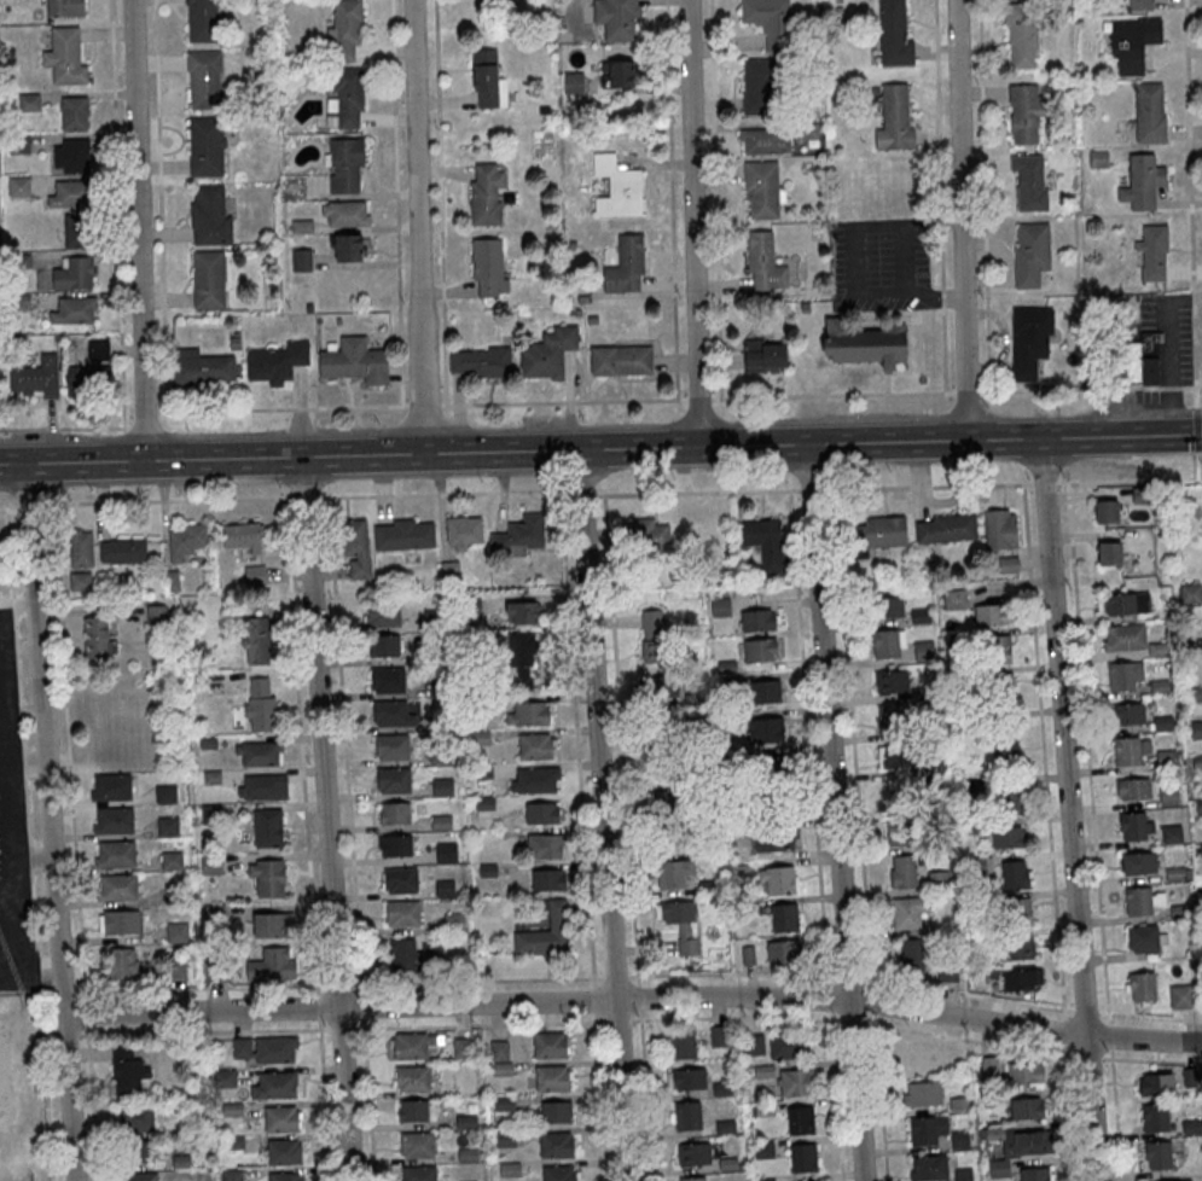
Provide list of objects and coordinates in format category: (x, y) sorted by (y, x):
building: (1139, 5)
building: (65, 7)
building: (202, 19)
building: (617, 19)
building: (768, 23)
building: (344, 30)
building: (893, 35)
building: (1020, 35)
building: (1132, 43)
building: (64, 56)
building: (617, 74)
building: (487, 77)
building: (204, 80)
building: (761, 86)
building: (349, 98)
building: (28, 101)
building: (74, 112)
building: (1026, 114)
building: (1149, 115)
building: (894, 121)
building: (807, 132)
road: (1189, 141)
building: (762, 142)
building: (18, 144)
road: (939, 144)
building: (205, 145)
building: (71, 155)
building: (1097, 161)
building: (345, 165)
building: (1029, 184)
building: (1142, 184)
building: (18, 186)
building: (617, 186)
building: (761, 190)
building: (70, 193)
building: (486, 194)
road: (983, 194)
road: (669, 198)
road: (714, 198)
road: (395, 202)
road: (440, 202)
road: (116, 213)
building: (345, 213)
building: (208, 214)
road: (959, 220)
road: (693, 221)
road: (416, 225)
building: (77, 229)
road: (137, 229)
building: (349, 248)
building: (1152, 254)
building: (1030, 256)
building: (301, 260)
building: (763, 262)
building: (626, 266)
parking lot: (878, 266)
building: (489, 267)
building: (74, 274)
building: (208, 279)
road: (906, 287)
road: (1192, 292)
road: (942, 296)
building: (74, 310)
road: (163, 327)
building: (863, 342)
building: (1028, 342)
road: (943, 348)
road: (1169, 348)
building: (98, 349)
road: (1194, 353)
building: (547, 354)
building: (762, 357)
building: (620, 360)
building: (355, 361)
building: (1142, 361)
building: (275, 362)
building: (478, 363)
building: (201, 368)
building: (35, 378)
building: (91, 380)
road: (1191, 385)
road: (1166, 386)
road: (1063, 388)
road: (966, 390)
road: (831, 394)
parking lot: (1151, 394)
road: (698, 397)
road: (562, 400)
road: (423, 403)
road: (1198, 413)
road: (62, 427)
road: (1084, 437)
road: (482, 449)
road: (1045, 482)
road: (1128, 482)
road: (928, 487)
road: (809, 489)
road: (443, 493)
road: (581, 493)
road: (696, 493)
road: (304, 496)
building: (1139, 496)
road: (166, 500)
road: (25, 505)
road: (6, 510)
building: (1103, 513)
building: (945, 528)
building: (1000, 529)
building: (464, 533)
building: (877, 533)
building: (403, 534)
building: (709, 535)
building: (243, 536)
building: (521, 536)
building: (643, 536)
building: (186, 540)
building: (766, 542)
building: (81, 548)
building: (356, 548)
road: (8, 553)
building: (122, 553)
building: (1107, 554)
building: (1008, 564)
building: (449, 570)
building: (255, 575)
building: (80, 581)
building: (1189, 595)
building: (954, 599)
road: (12, 603)
road: (17, 603)
building: (1121, 605)
building: (889, 606)
building: (523, 612)
building: (992, 613)
building: (156, 615)
building: (382, 615)
building: (759, 619)
building: (652, 635)
building: (97, 638)
building: (256, 640)
building: (1122, 640)
building: (888, 642)
building: (384, 645)
building: (760, 650)
building: (999, 651)
building: (1156, 651)
building: (522, 661)
building: (1122, 676)
road: (17, 679)
building: (388, 680)
building: (892, 681)
building: (1157, 688)
building: (766, 691)
building: (661, 693)
building: (1194, 696)
building: (260, 703)
building: (528, 712)
building: (391, 714)
building: (1126, 716)
building: (898, 720)
building: (1161, 726)
building: (763, 729)
building: (1195, 732)
road: (576, 733)
road: (808, 738)
road: (620, 739)
road: (852, 739)
road: (300, 740)
road: (343, 744)
building: (535, 745)
building: (393, 746)
building: (1005, 746)
road: (68, 750)
road: (1043, 751)
building: (658, 752)
building: (1128, 752)
building: (259, 754)
road: (1086, 754)
building: (894, 758)
building: (1165, 761)
road: (22, 762)
building: (1196, 763)
road: (24, 768)
building: (767, 774)
building: (394, 779)
building: (534, 779)
building: (259, 786)
building: (110, 787)
building: (1131, 791)
building: (166, 793)
building: (1006, 797)
building: (1167, 798)
road: (7, 799)
building: (894, 804)
building: (484, 807)
building: (1198, 808)
road: (27, 809)
road: (1068, 810)
road: (835, 811)
building: (211, 813)
building: (395, 813)
building: (542, 813)
road: (602, 814)
building: (660, 816)
road: (324, 818)
building: (112, 820)
road: (48, 821)
building: (168, 826)
building: (267, 827)
building: (1132, 828)
building: (899, 832)
building: (1169, 837)
building: (773, 838)
building: (1006, 838)
building: (395, 845)
building: (544, 845)
building: (446, 851)
building: (1200, 853)
building: (115, 854)
road: (29, 856)
road: (31, 859)
building: (172, 860)
building: (1136, 866)
building: (902, 873)
building: (1014, 874)
building: (268, 877)
building: (1173, 877)
building: (400, 879)
building: (547, 879)
building: (777, 879)
building: (117, 886)
building: (1140, 903)
road: (33, 912)
building: (1018, 912)
building: (403, 913)
building: (908, 914)
building: (1177, 914)
building: (784, 917)
building: (118, 921)
building: (454, 921)
building: (680, 923)
building: (271, 924)
building: (545, 932)
building: (1143, 941)
building: (1017, 948)
building: (782, 952)
building: (413, 953)
road: (1, 954)
building: (910, 958)
building: (121, 962)
building: (272, 964)
road: (28, 966)
road: (37, 966)
building: (175, 966)
road: (731, 972)
road: (615, 976)
road: (848, 978)
road: (476, 979)
building: (1022, 979)
road: (593, 982)
road: (339, 984)
road: (201, 987)
road: (317, 989)
building: (1140, 989)
road: (45, 990)
road: (63, 990)
road: (968, 994)
road: (638, 996)
road: (828, 997)
road: (594, 999)
road: (625, 999)
building: (1179, 999)
road: (872, 1001)
road: (317, 1005)
road: (360, 1005)
road: (86, 1012)
road: (1086, 1012)
road: (1150, 1016)
road: (736, 1017)
road: (619, 1019)
road: (600, 1020)
road: (853, 1020)
road: (474, 1024)
road: (341, 1028)
road: (203, 1030)
road: (1064, 1030)
road: (64, 1034)
road: (47, 1035)
building: (718, 1035)
road: (1108, 1036)
road: (970, 1040)
road: (1194, 1041)
building: (683, 1042)
building: (754, 1042)
building: (550, 1043)
building: (789, 1045)
building: (411, 1046)
building: (461, 1048)
building: (265, 1049)
building: (931, 1054)
road: (1087, 1057)
road: (1150, 1060)
building: (1026, 1071)
building: (127, 1072)
building: (553, 1077)
road: (45, 1078)
building: (412, 1078)
building: (686, 1078)
building: (1188, 1080)
building: (794, 1082)
building: (269, 1086)
building: (1155, 1087)
building: (922, 1094)
road: (600, 1095)
road: (645, 1095)
road: (835, 1095)
road: (879, 1096)
road: (324, 1099)
road: (367, 1099)
road: (91, 1103)
building: (1027, 1107)
building: (412, 1110)
building: (556, 1111)
road: (1070, 1111)
road: (1115, 1113)
building: (690, 1116)
building: (137, 1118)
building: (280, 1118)
building: (801, 1119)
building: (1155, 1121)
building: (928, 1130)
building: (1191, 1130)
building: (1028, 1142)
building: (417, 1144)
building: (557, 1144)
building: (763, 1148)
building: (137, 1151)
building: (283, 1152)
building: (693, 1153)
building: (803, 1157)
building: (1156, 1158)
building: (928, 1168)
building: (999, 1168)
building: (418, 1173)
building: (558, 1173)
building: (1035, 1174)
building: (232, 1175)
building: (139, 1176)
building: (284, 1176)
building: (693, 1179)
building: (765, 1179)

